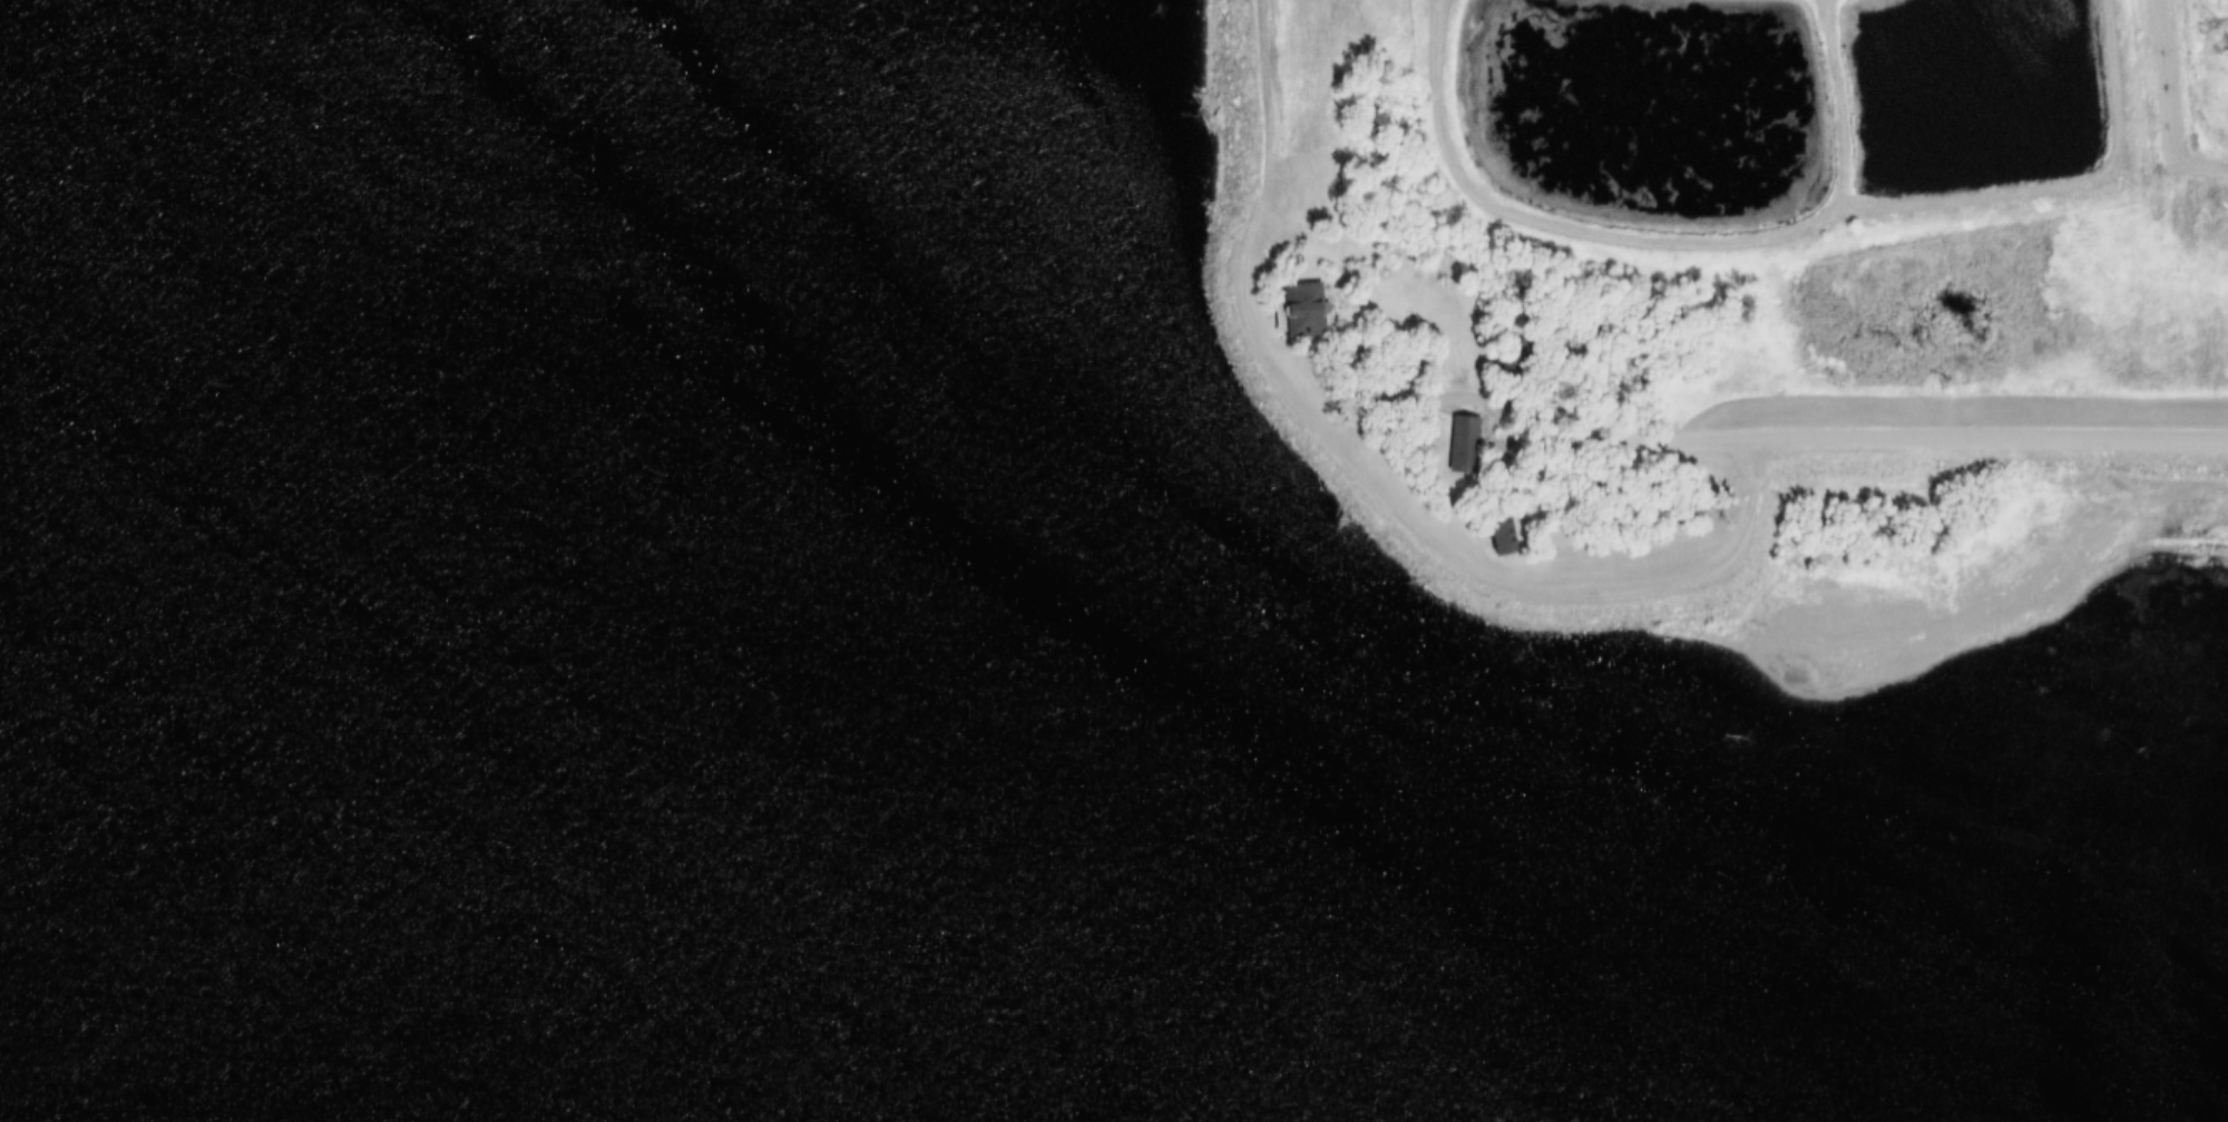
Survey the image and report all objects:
road: (1830, 104)
road: (2162, 105)
road: (1775, 240)
building: (1292, 311)
building: (1511, 357)
road: (1420, 396)
road: (1867, 432)
building: (1453, 440)
building: (1488, 531)
building: (1502, 537)
road: (1440, 555)

